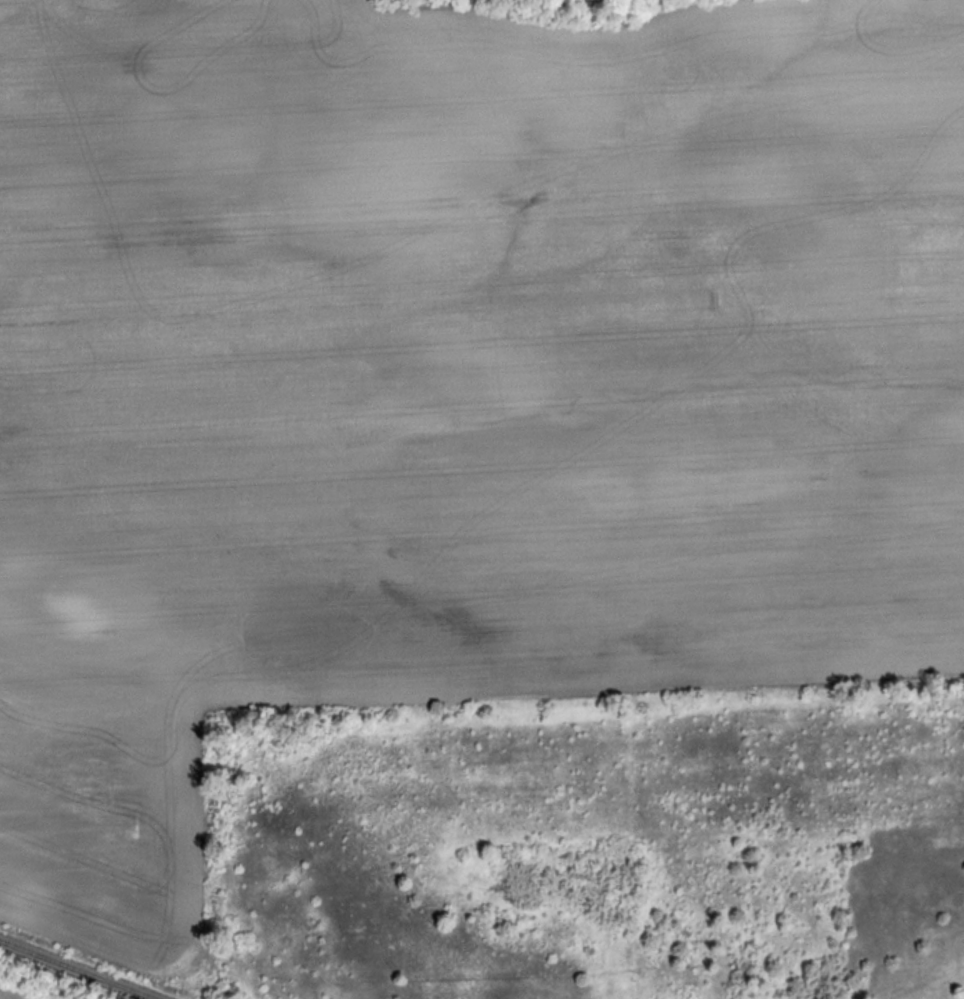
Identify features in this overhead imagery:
railway: (77, 970)

